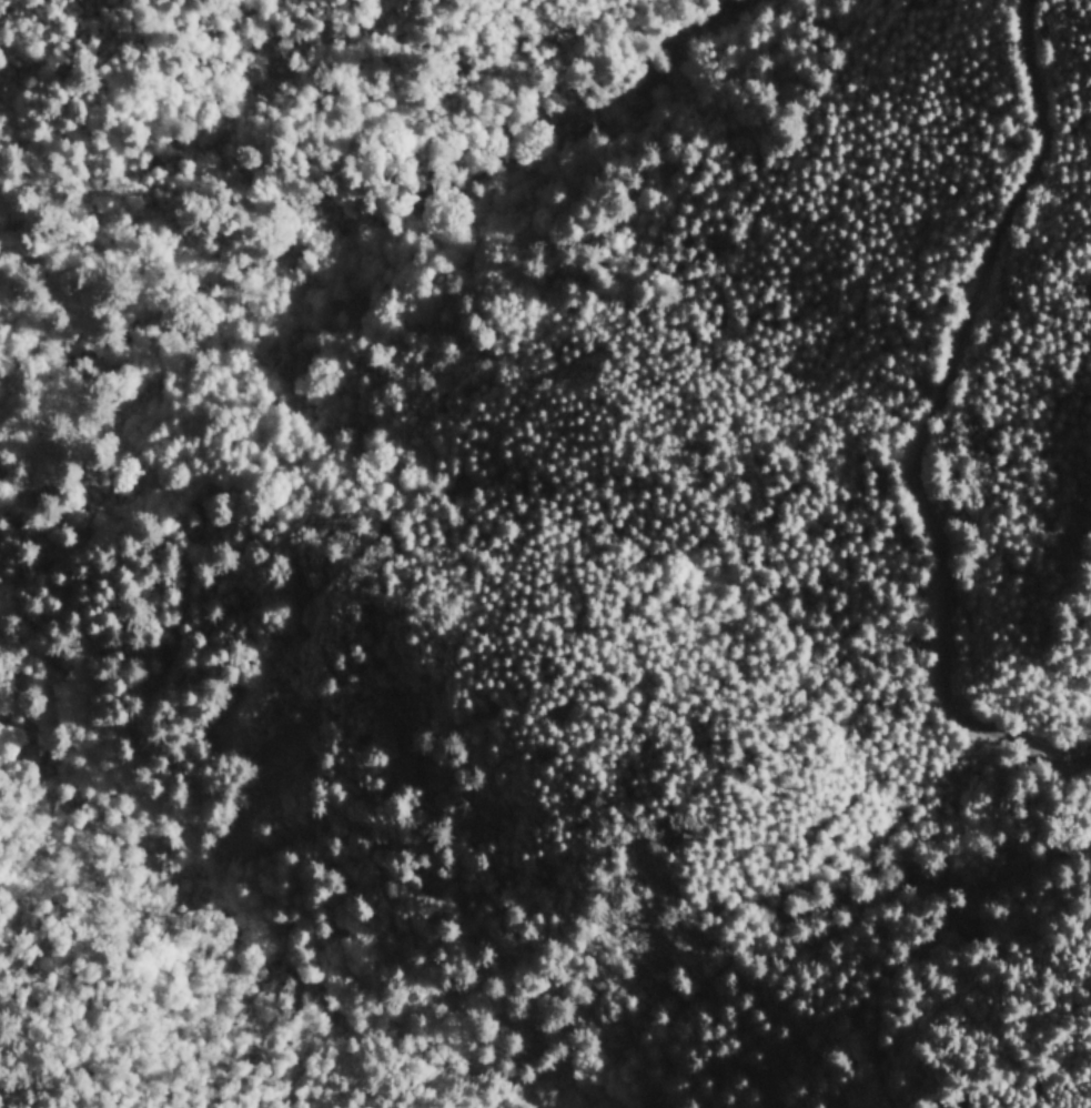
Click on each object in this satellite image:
road: (992, 359)

